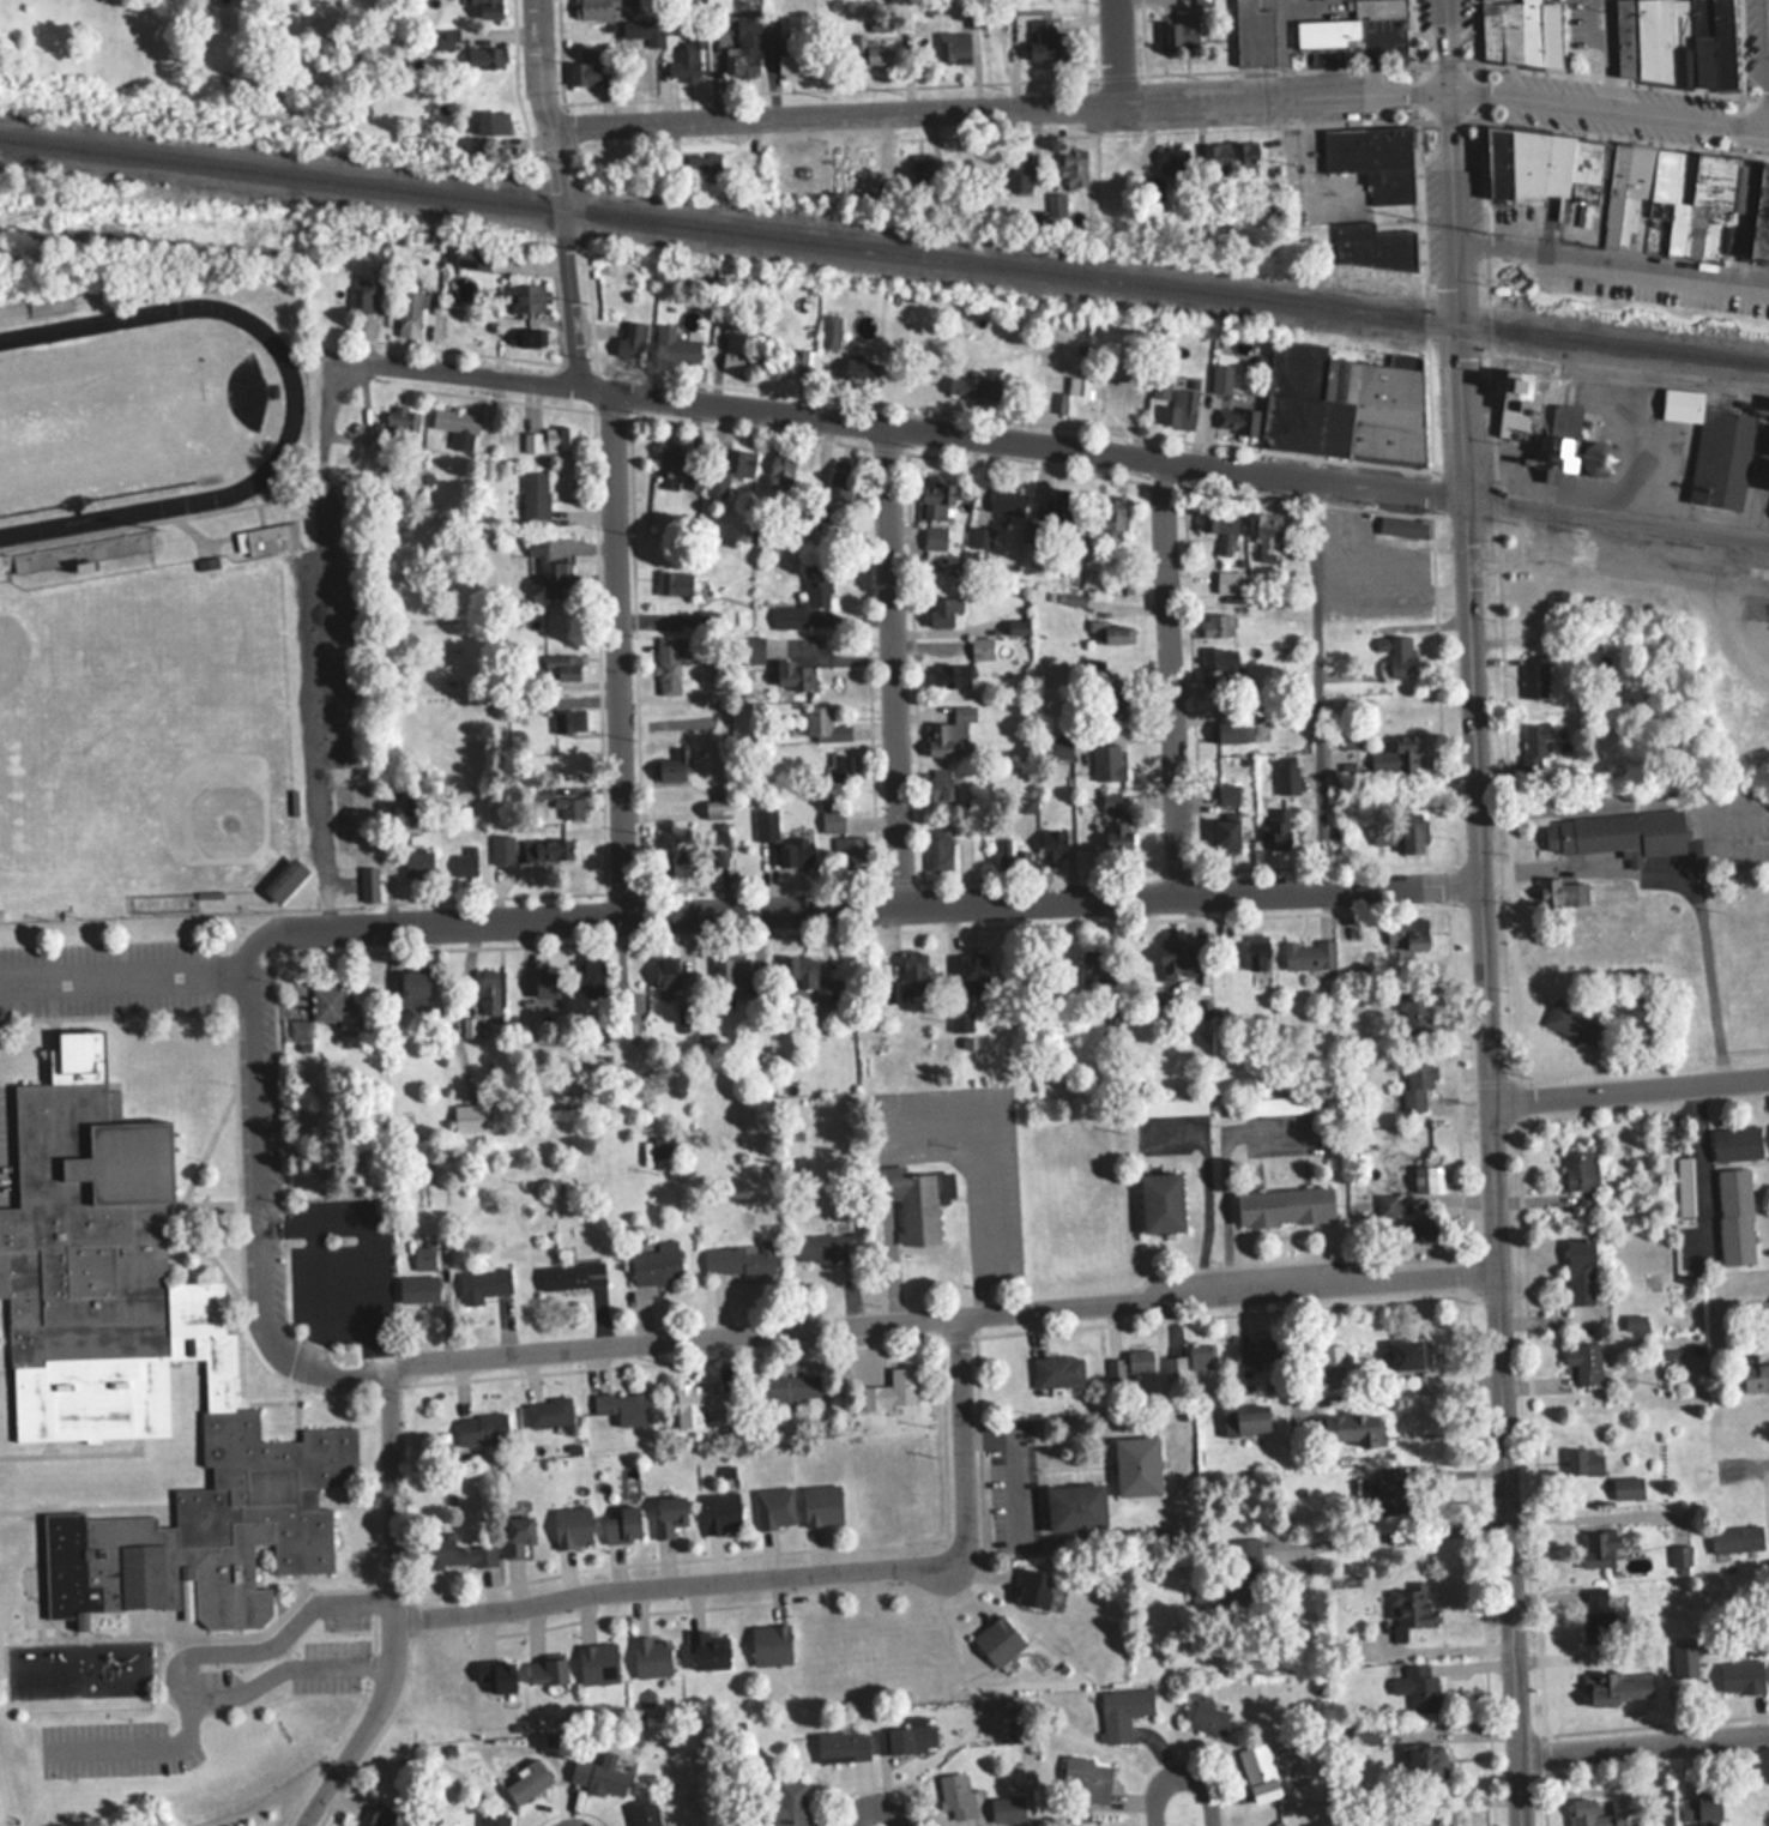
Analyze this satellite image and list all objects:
road: (1768, 6)
building: (489, 8)
building: (593, 8)
building: (1345, 23)
building: (1182, 26)
building: (768, 28)
building: (1520, 31)
building: (1252, 32)
building: (651, 35)
building: (1045, 37)
building: (1674, 42)
building: (953, 44)
road: (1449, 44)
building: (470, 49)
building: (743, 50)
building: (869, 52)
road: (1115, 53)
building: (686, 55)
road: (538, 64)
building: (791, 64)
building: (585, 66)
road: (1610, 107)
road: (998, 108)
building: (491, 121)
building: (1228, 158)
building: (1373, 158)
building: (1172, 159)
building: (702, 162)
building: (1074, 168)
building: (1019, 171)
building: (858, 177)
building: (1637, 188)
building: (1375, 245)
railway: (883, 252)
road: (563, 254)
building: (471, 257)
road: (1613, 259)
building: (362, 294)
building: (526, 297)
building: (38, 308)
building: (411, 312)
building: (527, 336)
building: (632, 339)
building: (674, 346)
building: (732, 352)
building: (1079, 363)
railway: (1666, 366)
railway: (1665, 378)
building: (1160, 386)
building: (972, 387)
building: (1076, 394)
building: (1341, 403)
building: (1515, 403)
building: (1179, 409)
building: (404, 420)
building: (1236, 421)
building: (457, 426)
road: (902, 429)
building: (549, 440)
building: (1711, 446)
building: (1556, 454)
building: (669, 458)
building: (781, 469)
building: (729, 470)
building: (839, 478)
building: (535, 494)
building: (937, 498)
building: (1006, 501)
building: (1059, 510)
building: (1112, 512)
road: (1622, 516)
building: (1402, 526)
building: (1220, 528)
building: (1264, 535)
building: (266, 538)
building: (979, 543)
building: (548, 568)
building: (674, 580)
building: (804, 596)
building: (943, 609)
building: (1216, 623)
building: (1107, 633)
road: (314, 643)
building: (980, 647)
building: (1397, 652)
road: (620, 655)
building: (1219, 657)
building: (563, 664)
road: (892, 664)
building: (670, 665)
building: (791, 674)
building: (950, 674)
building: (1534, 675)
road: (1172, 676)
road: (1310, 680)
building: (1115, 703)
building: (568, 719)
building: (822, 723)
building: (953, 730)
building: (1231, 731)
building: (1536, 743)
building: (1055, 748)
building: (1396, 757)
building: (1107, 763)
building: (672, 766)
building: (841, 766)
building: (1286, 777)
building: (940, 785)
building: (1110, 802)
building: (1027, 803)
building: (568, 806)
building: (461, 815)
building: (832, 820)
building: (766, 822)
building: (1406, 827)
building: (1276, 828)
building: (1117, 833)
building: (1618, 833)
building: (1052, 844)
building: (798, 845)
building: (938, 849)
building: (501, 850)
building: (544, 850)
building: (849, 851)
building: (1009, 855)
building: (678, 861)
building: (417, 863)
building: (466, 863)
road: (1684, 872)
building: (284, 879)
building: (368, 884)
building: (1563, 892)
road: (870, 903)
building: (1408, 930)
building: (1257, 951)
building: (1308, 953)
road: (1486, 957)
building: (1171, 960)
road: (123, 971)
building: (974, 974)
building: (733, 975)
building: (810, 977)
building: (1097, 977)
building: (591, 978)
building: (907, 978)
building: (547, 984)
building: (411, 988)
building: (489, 992)
building: (332, 1004)
building: (1412, 1013)
building: (960, 1020)
building: (1572, 1023)
building: (298, 1031)
road: (1630, 1084)
building: (1417, 1085)
building: (1279, 1104)
building: (1167, 1107)
building: (470, 1119)
building: (1737, 1144)
building: (665, 1146)
road: (1695, 1161)
road: (1216, 1170)
building: (1582, 1175)
building: (1419, 1179)
road: (260, 1200)
building: (914, 1201)
building: (1161, 1203)
building: (1285, 1206)
building: (1734, 1216)
building: (821, 1247)
road: (356, 1249)
building: (423, 1255)
building: (737, 1259)
building: (656, 1266)
building: (1580, 1271)
building: (572, 1276)
building: (484, 1283)
building: (417, 1286)
road: (943, 1320)
building: (1262, 1350)
building: (1408, 1354)
building: (1333, 1355)
building: (1200, 1356)
building: (1584, 1362)
building: (1130, 1363)
building: (138, 1367)
building: (1057, 1369)
building: (1171, 1369)
building: (1755, 1376)
building: (790, 1387)
building: (892, 1390)
building: (702, 1403)
building: (622, 1406)
building: (548, 1410)
building: (1245, 1420)
building: (482, 1428)
building: (1356, 1429)
road: (960, 1444)
road: (1020, 1460)
building: (1583, 1462)
building: (1137, 1465)
road: (1750, 1466)
building: (1626, 1488)
building: (1379, 1494)
building: (821, 1505)
building: (1076, 1507)
building: (774, 1508)
building: (720, 1512)
building: (669, 1514)
road: (1571, 1517)
building: (622, 1524)
building: (572, 1526)
building: (518, 1533)
road: (1395, 1533)
building: (1735, 1541)
building: (1598, 1547)
building: (458, 1553)
building: (1679, 1555)
building: (1242, 1572)
road: (669, 1585)
building: (1033, 1587)
road: (394, 1607)
building: (1408, 1607)
building: (1596, 1609)
building: (997, 1640)
building: (769, 1645)
building: (710, 1651)
building: (651, 1657)
building: (598, 1663)
road: (179, 1668)
building: (547, 1671)
building: (496, 1675)
building: (1740, 1676)
building: (1417, 1687)
building: (1619, 1687)
building: (1122, 1712)
building: (1203, 1718)
building: (906, 1737)
road: (1643, 1737)
road: (143, 1744)
building: (841, 1746)
building: (1426, 1762)
building: (1258, 1773)
building: (599, 1776)
road: (1185, 1777)
building: (1087, 1779)
building: (527, 1784)
building: (956, 1796)
building: (791, 1803)
building: (1699, 1807)
road: (879, 1808)
building: (1007, 1808)
building: (642, 1814)
building: (1599, 1814)
building: (375, 1816)
building: (495, 1819)
building: (1278, 1824)

